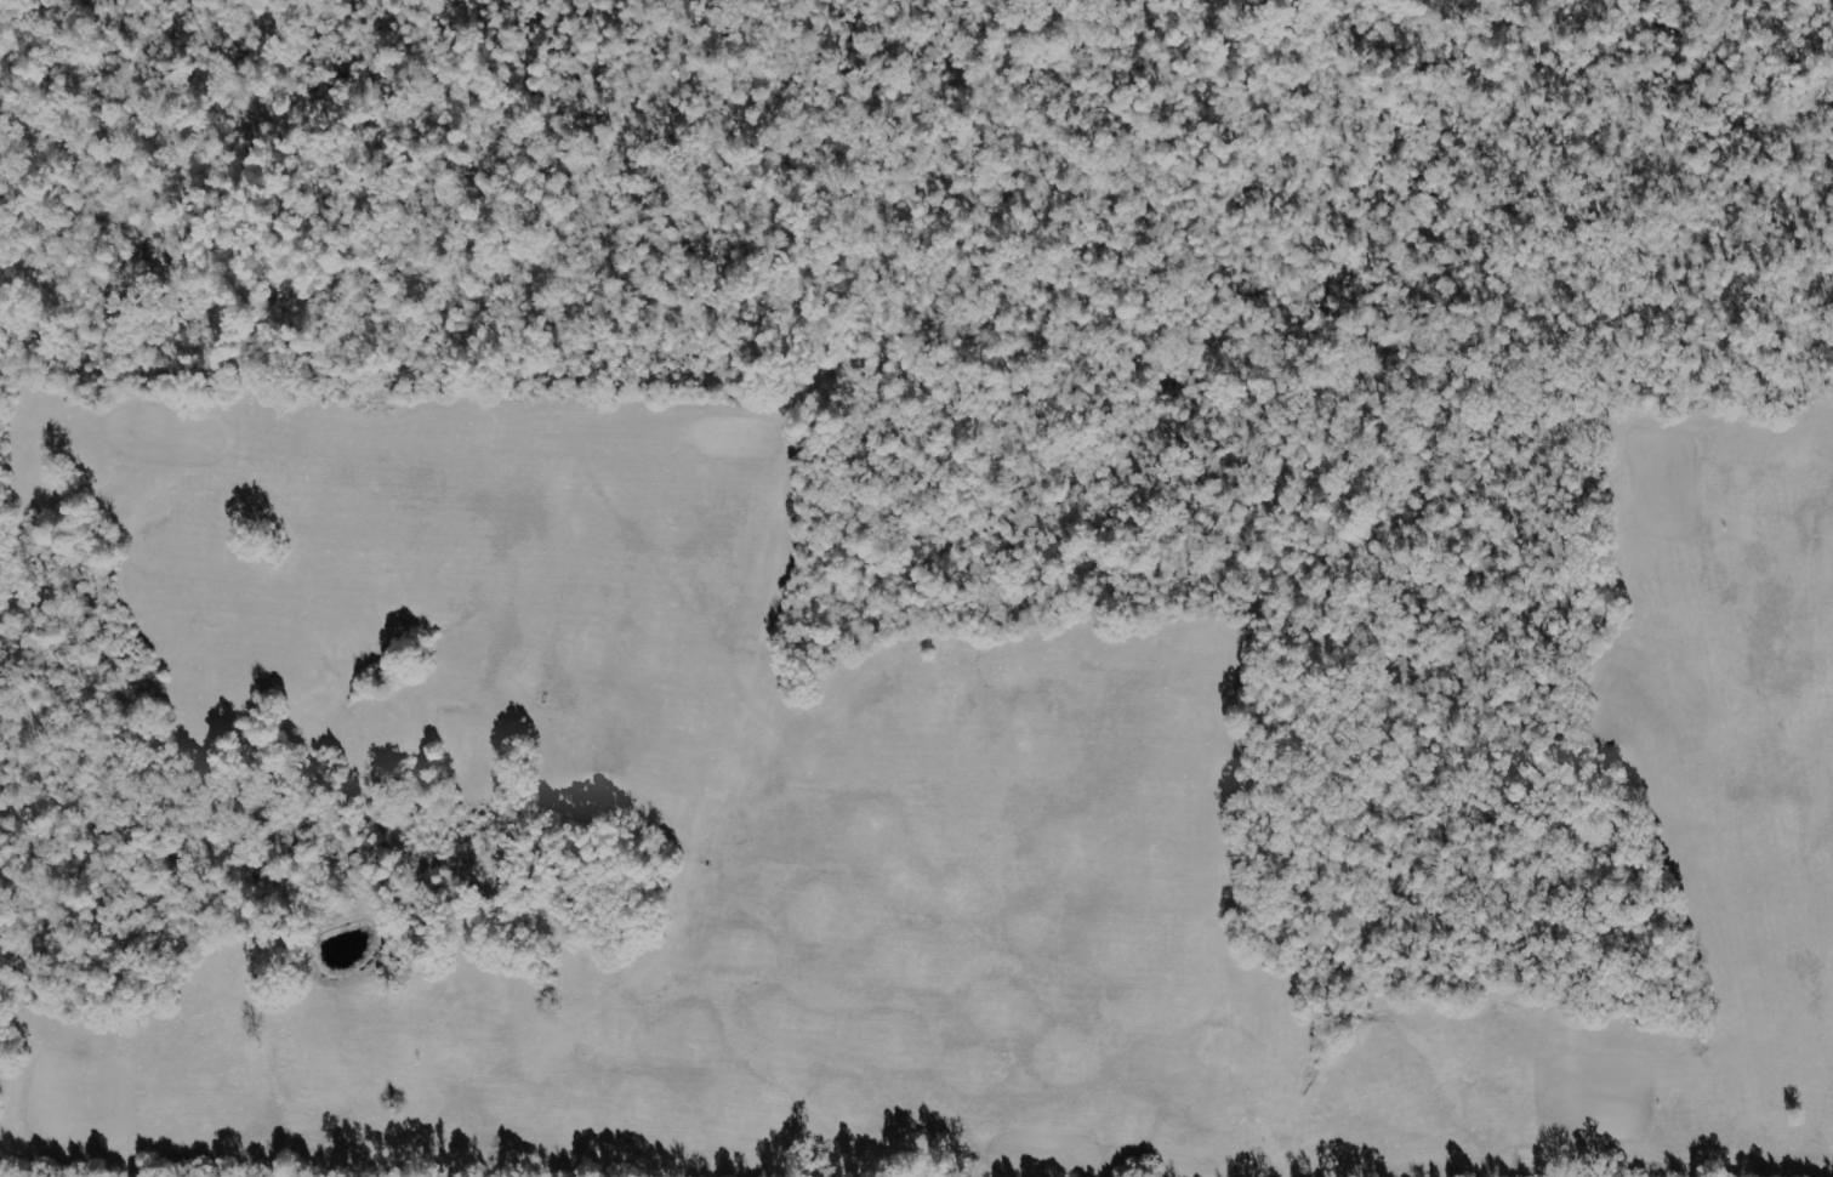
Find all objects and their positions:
road: (1484, 1122)
road: (2, 1175)

